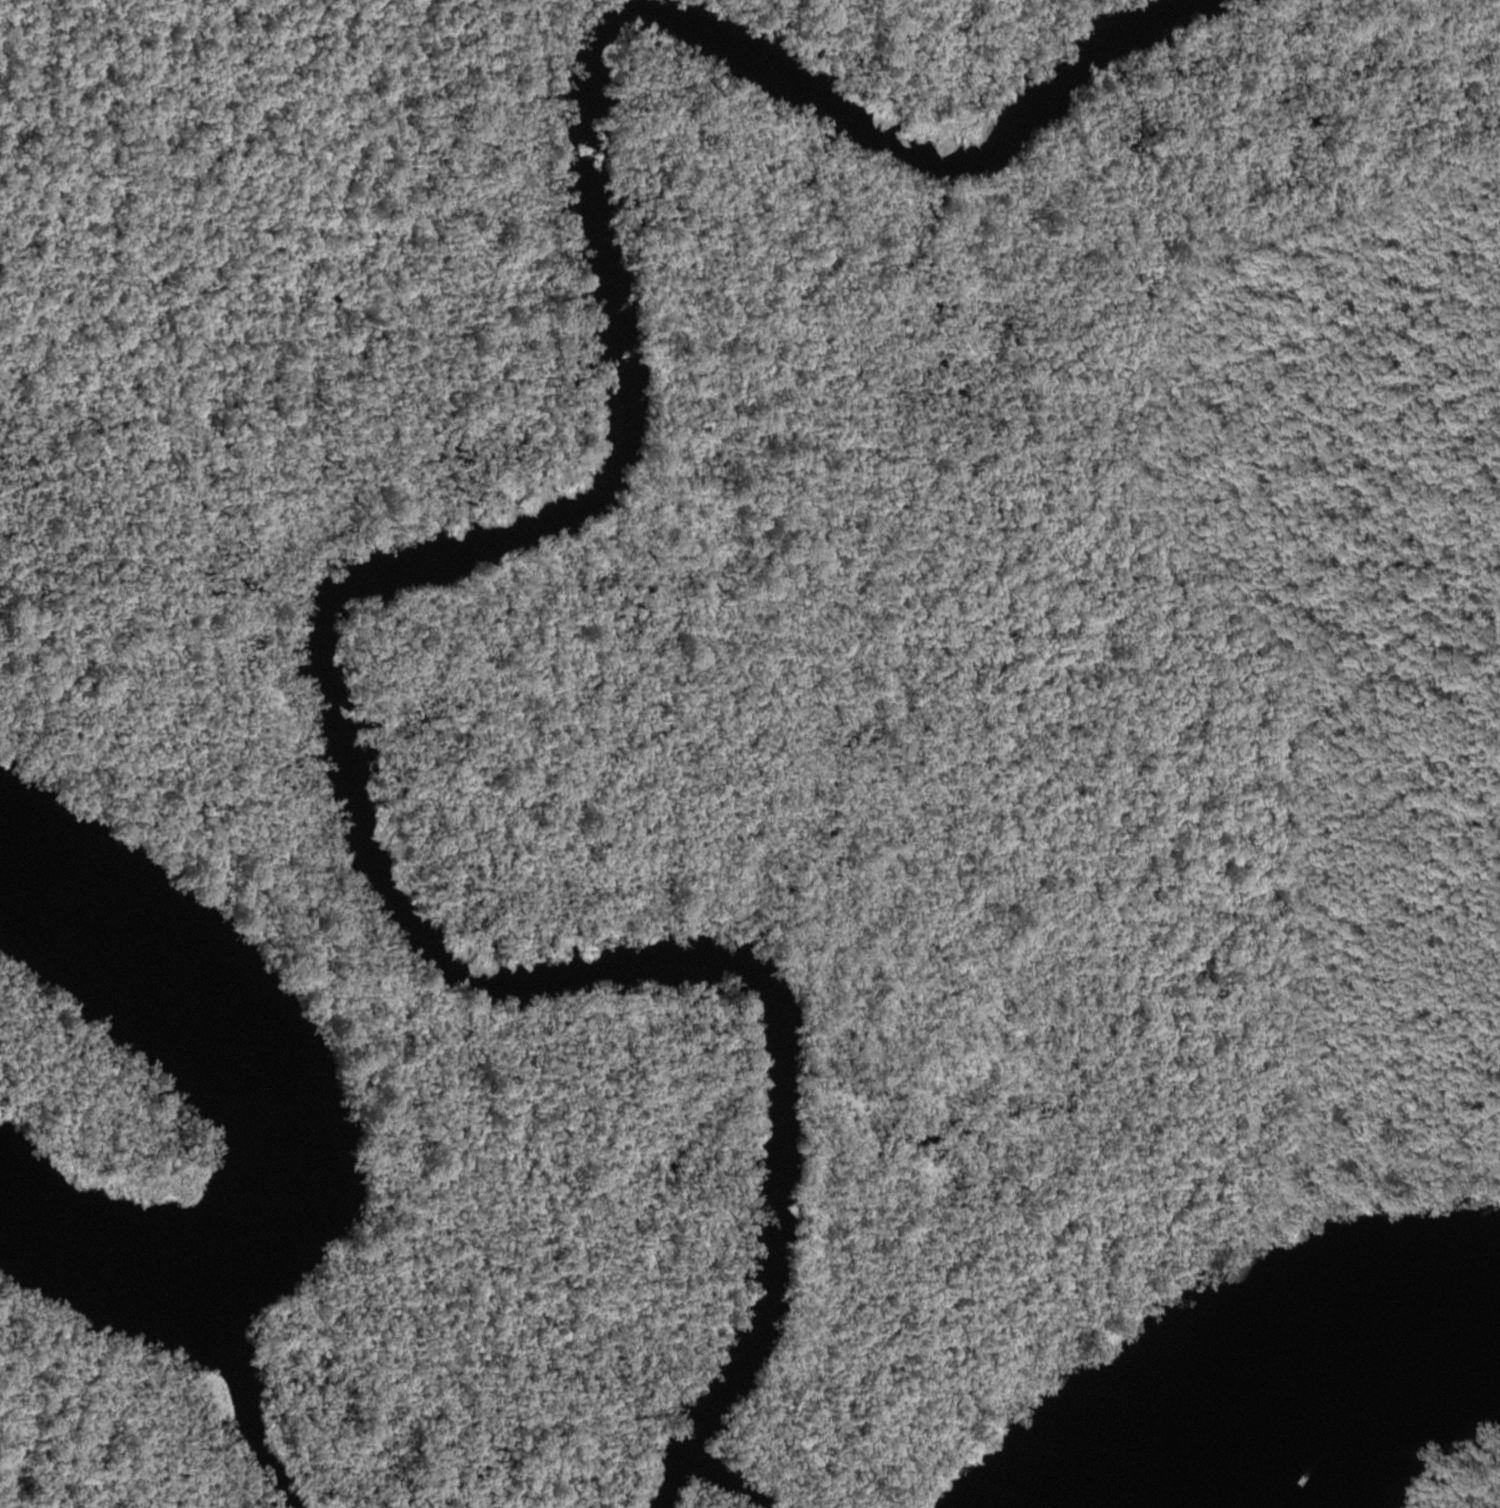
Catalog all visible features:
river: (1319, 1383)

